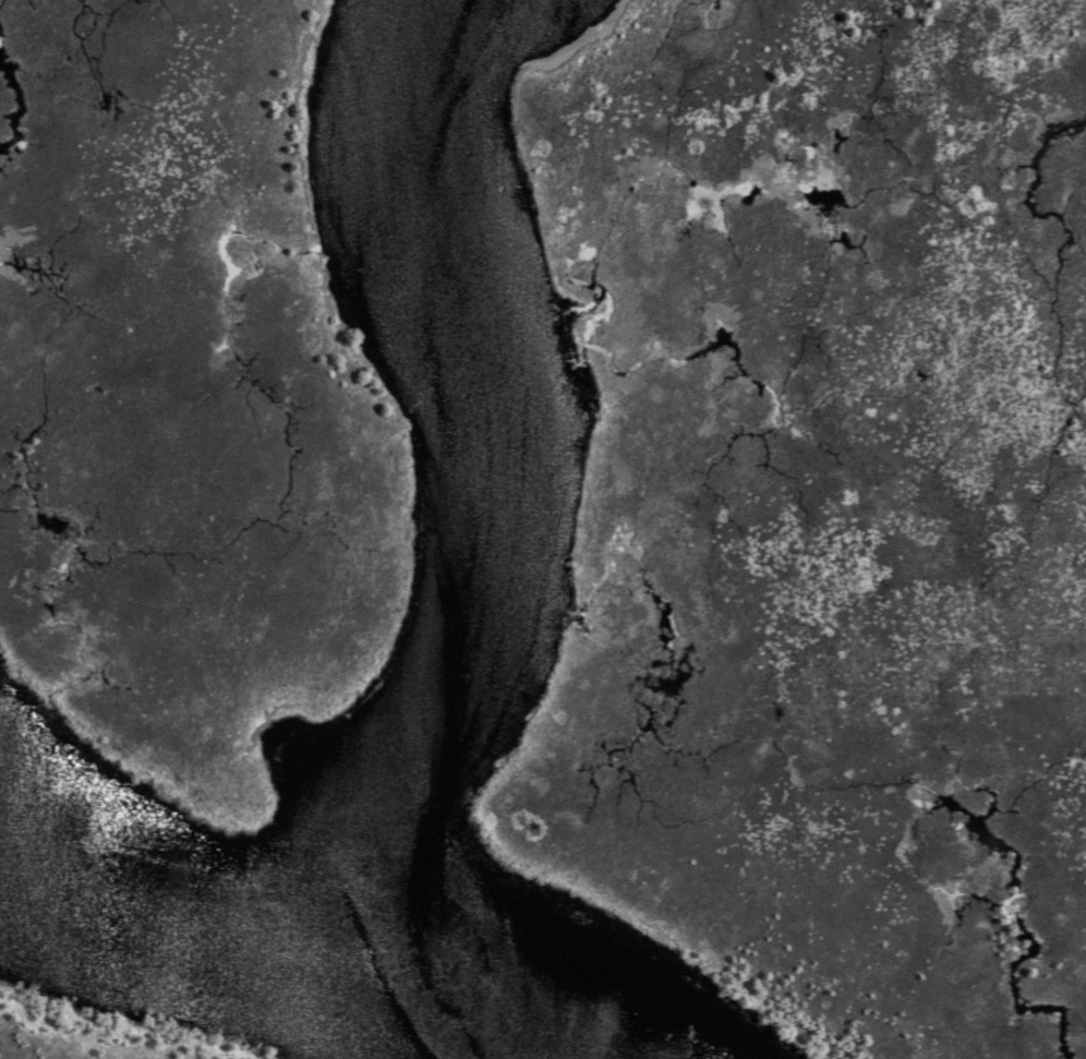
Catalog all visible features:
river: (270, 953)

